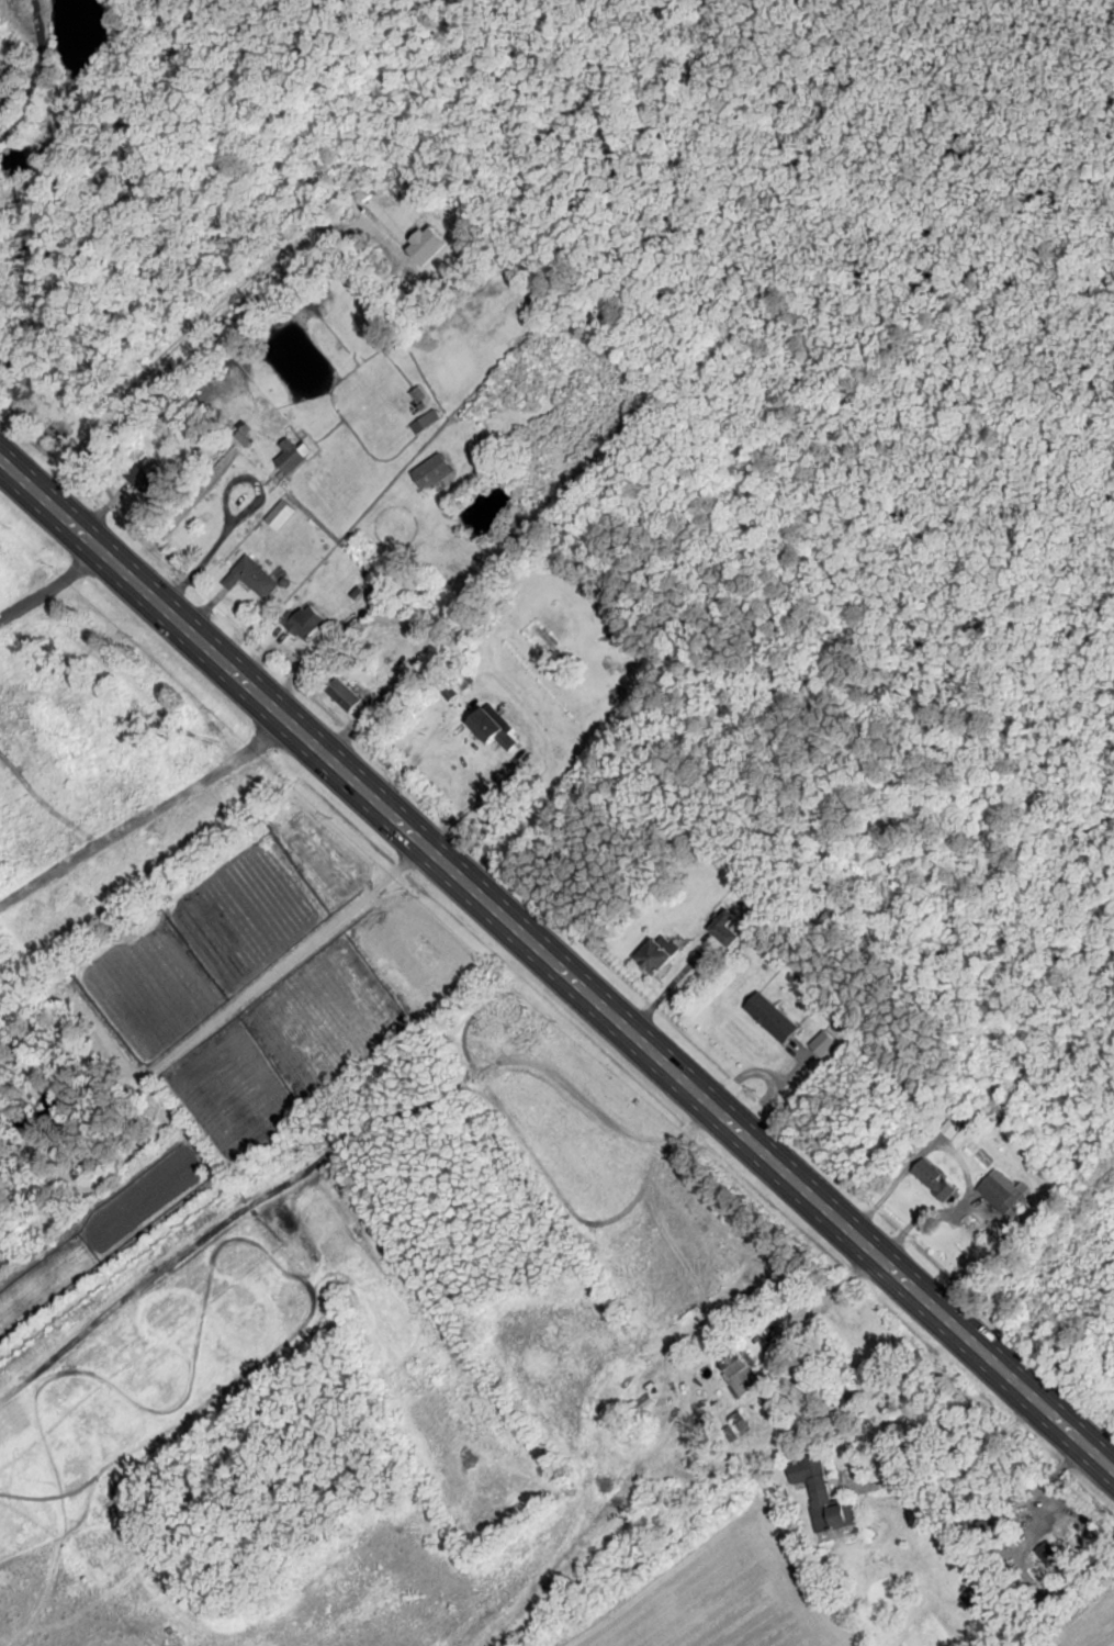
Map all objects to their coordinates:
building: (426, 421)
building: (149, 437)
building: (292, 455)
building: (434, 470)
building: (148, 482)
building: (281, 514)
building: (252, 576)
road: (52, 584)
building: (306, 622)
building: (346, 695)
road: (618, 703)
building: (495, 728)
road: (148, 817)
building: (729, 928)
building: (662, 954)
road: (554, 966)
building: (935, 1179)
building: (1001, 1191)
building: (742, 1374)
building: (823, 1494)
building: (1006, 1518)
building: (1053, 1557)
building: (980, 1599)
building: (176, 1641)

